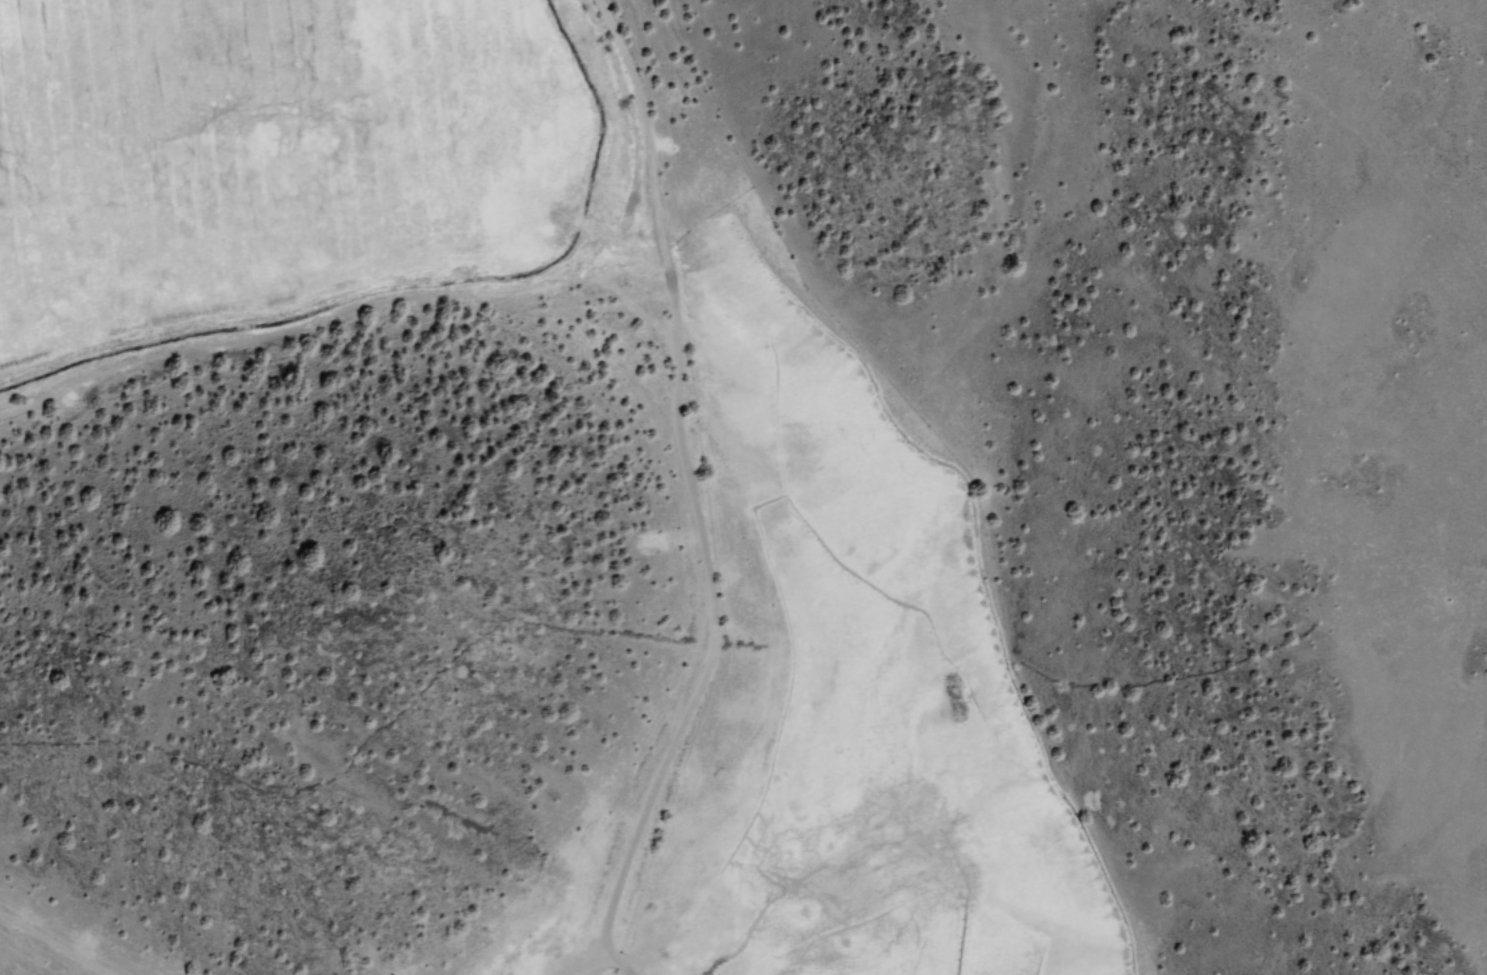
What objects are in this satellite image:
road: (690, 496)

